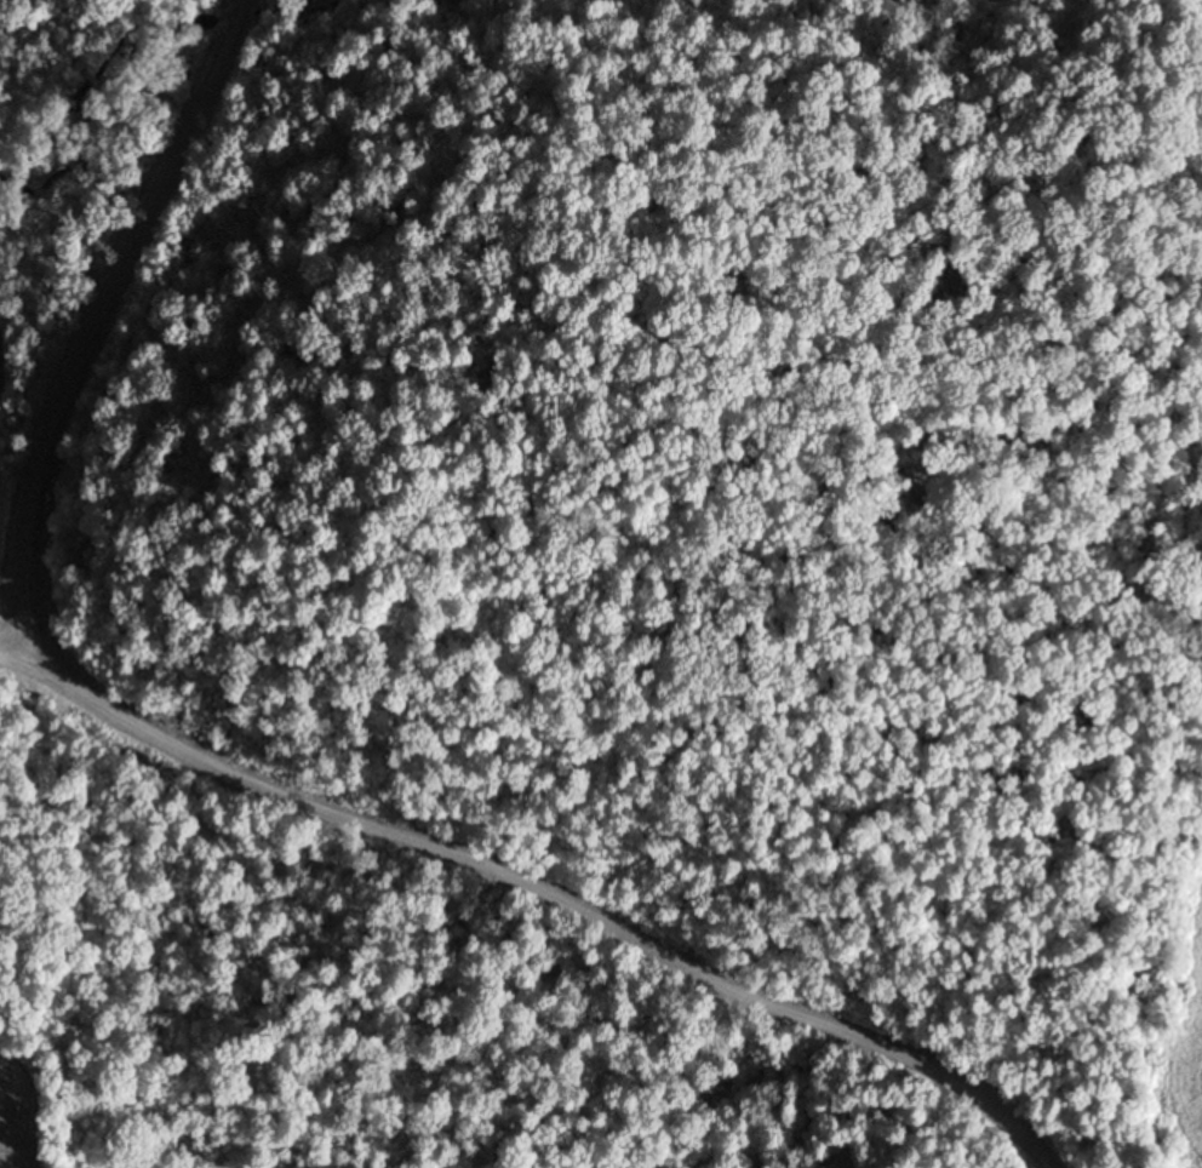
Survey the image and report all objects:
road: (99, 320)
road: (40, 640)
road: (29, 665)
road: (562, 906)

